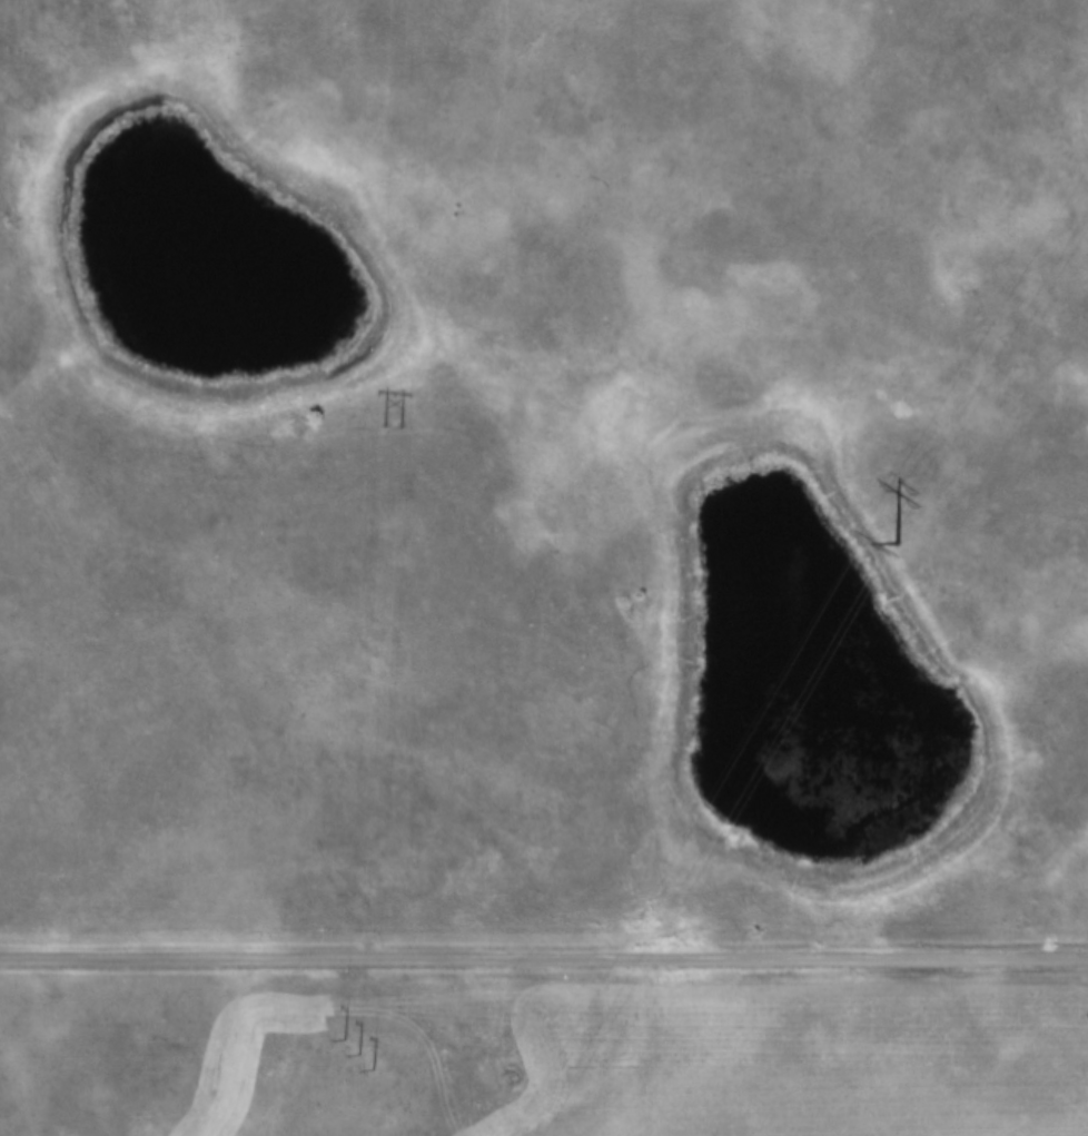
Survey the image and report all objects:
power tower: (396, 429)
power tower: (889, 524)
road: (544, 955)
power tower: (355, 1053)

